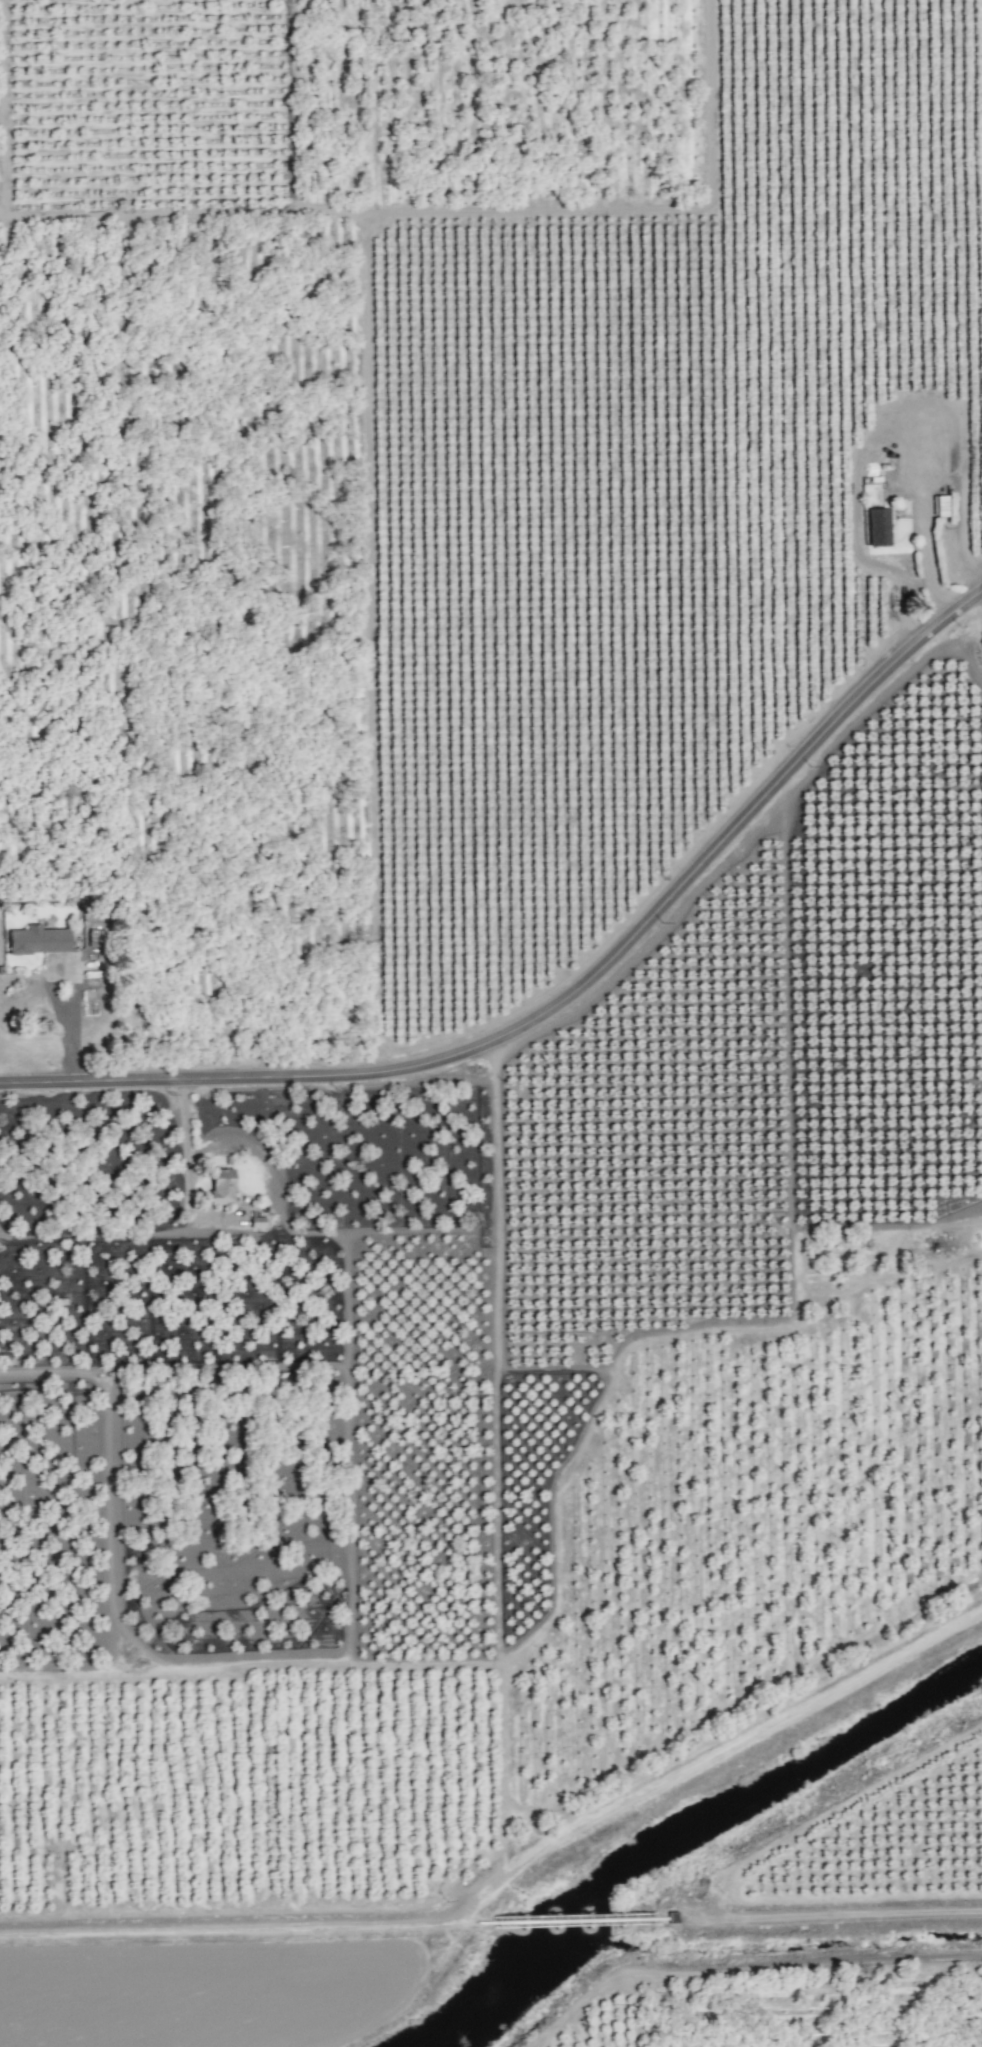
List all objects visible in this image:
building: (931, 451)
building: (941, 505)
building: (878, 526)
building: (38, 940)
road: (567, 1000)
road: (73, 1027)
road: (187, 1152)
building: (221, 1185)
building: (257, 1221)

